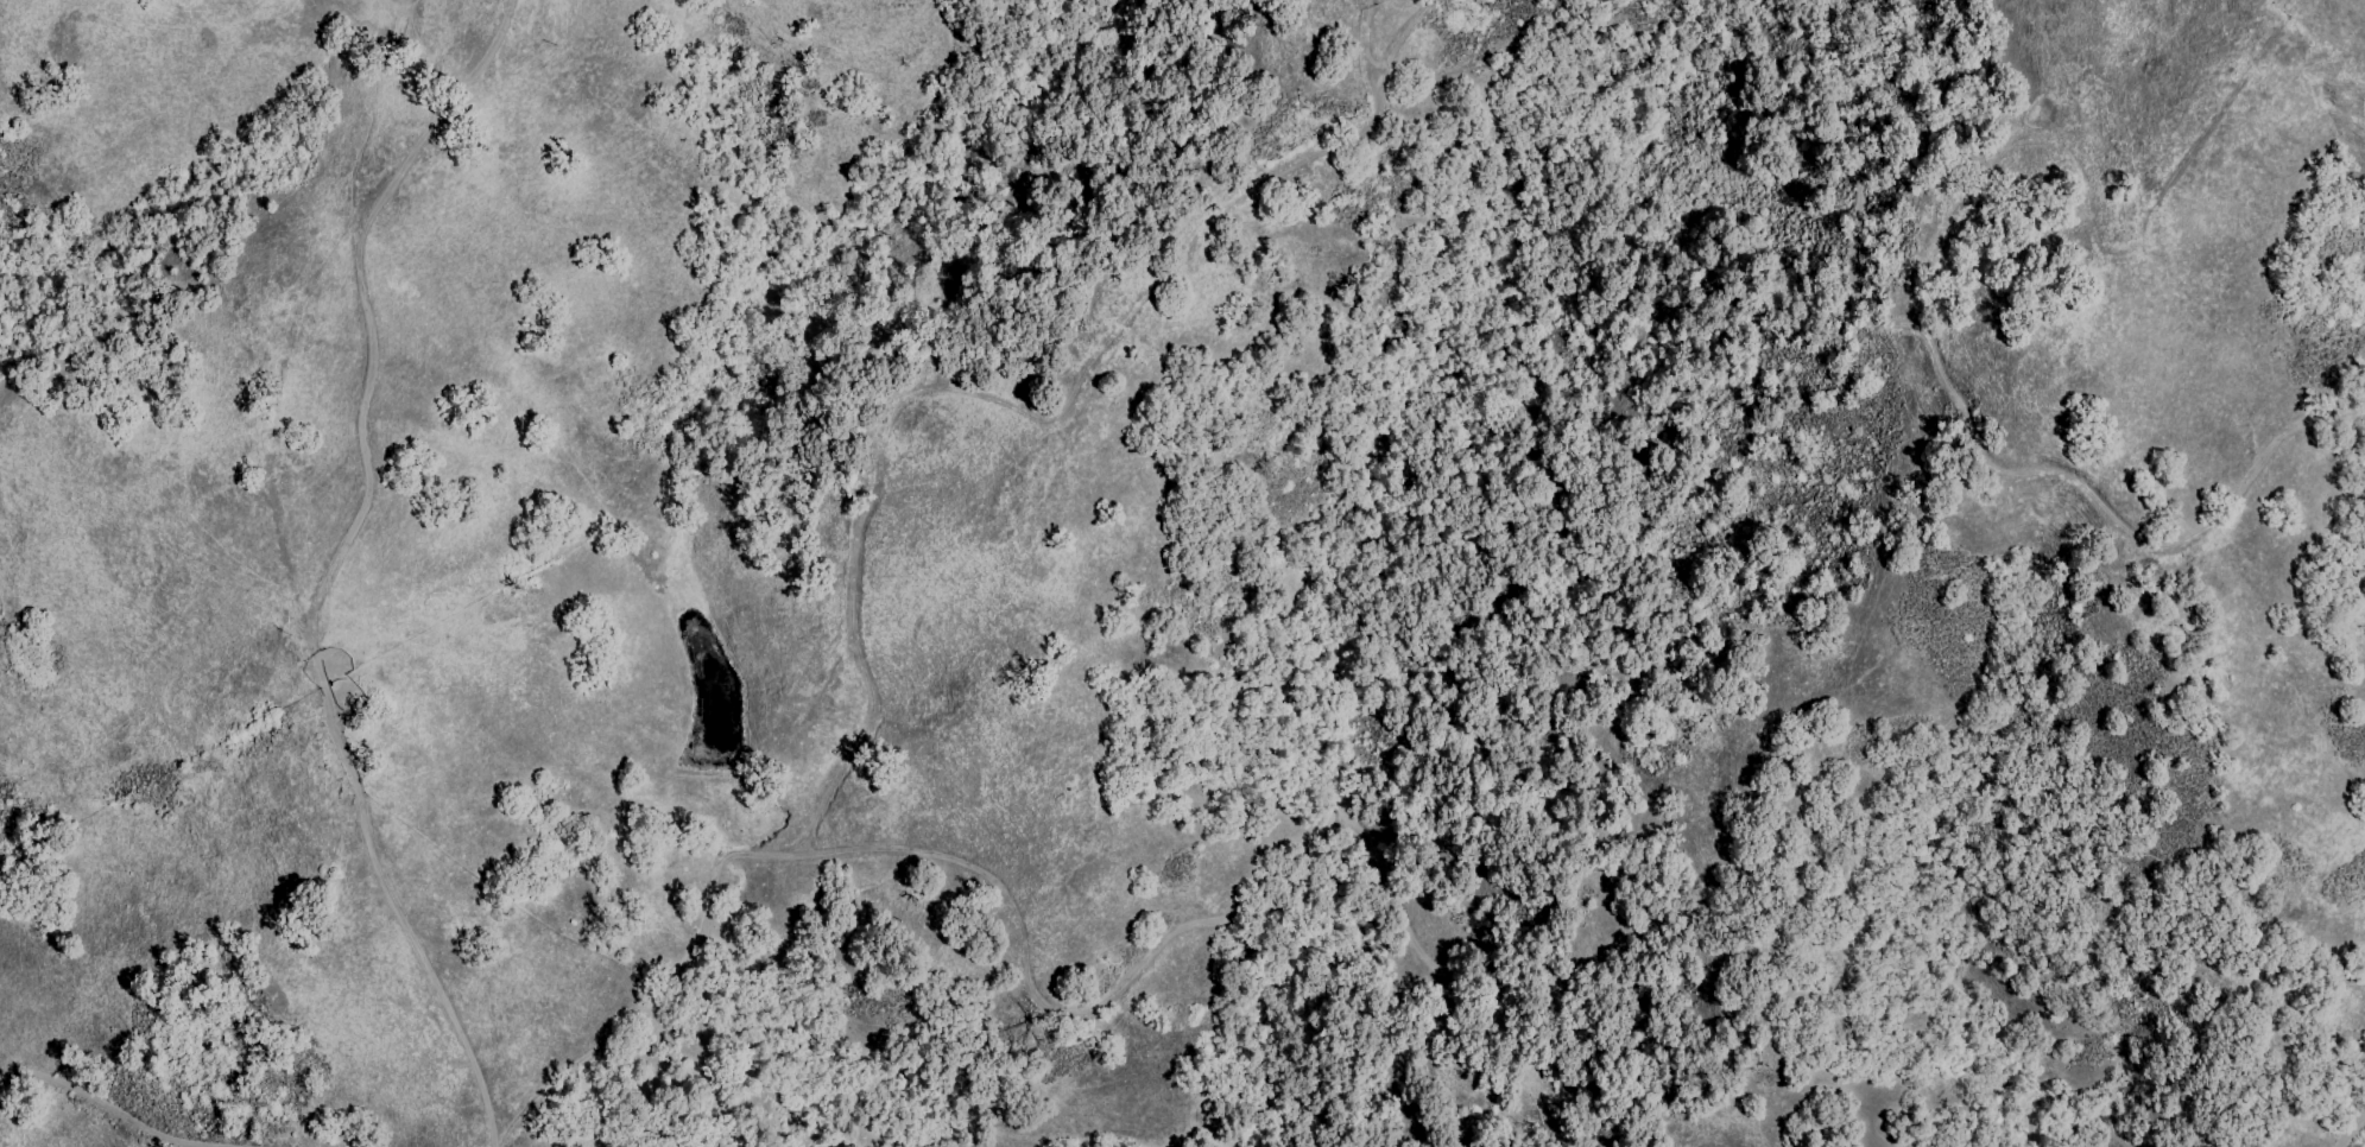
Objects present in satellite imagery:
road: (333, 560)
road: (862, 850)
road: (107, 1107)
road: (494, 1145)

